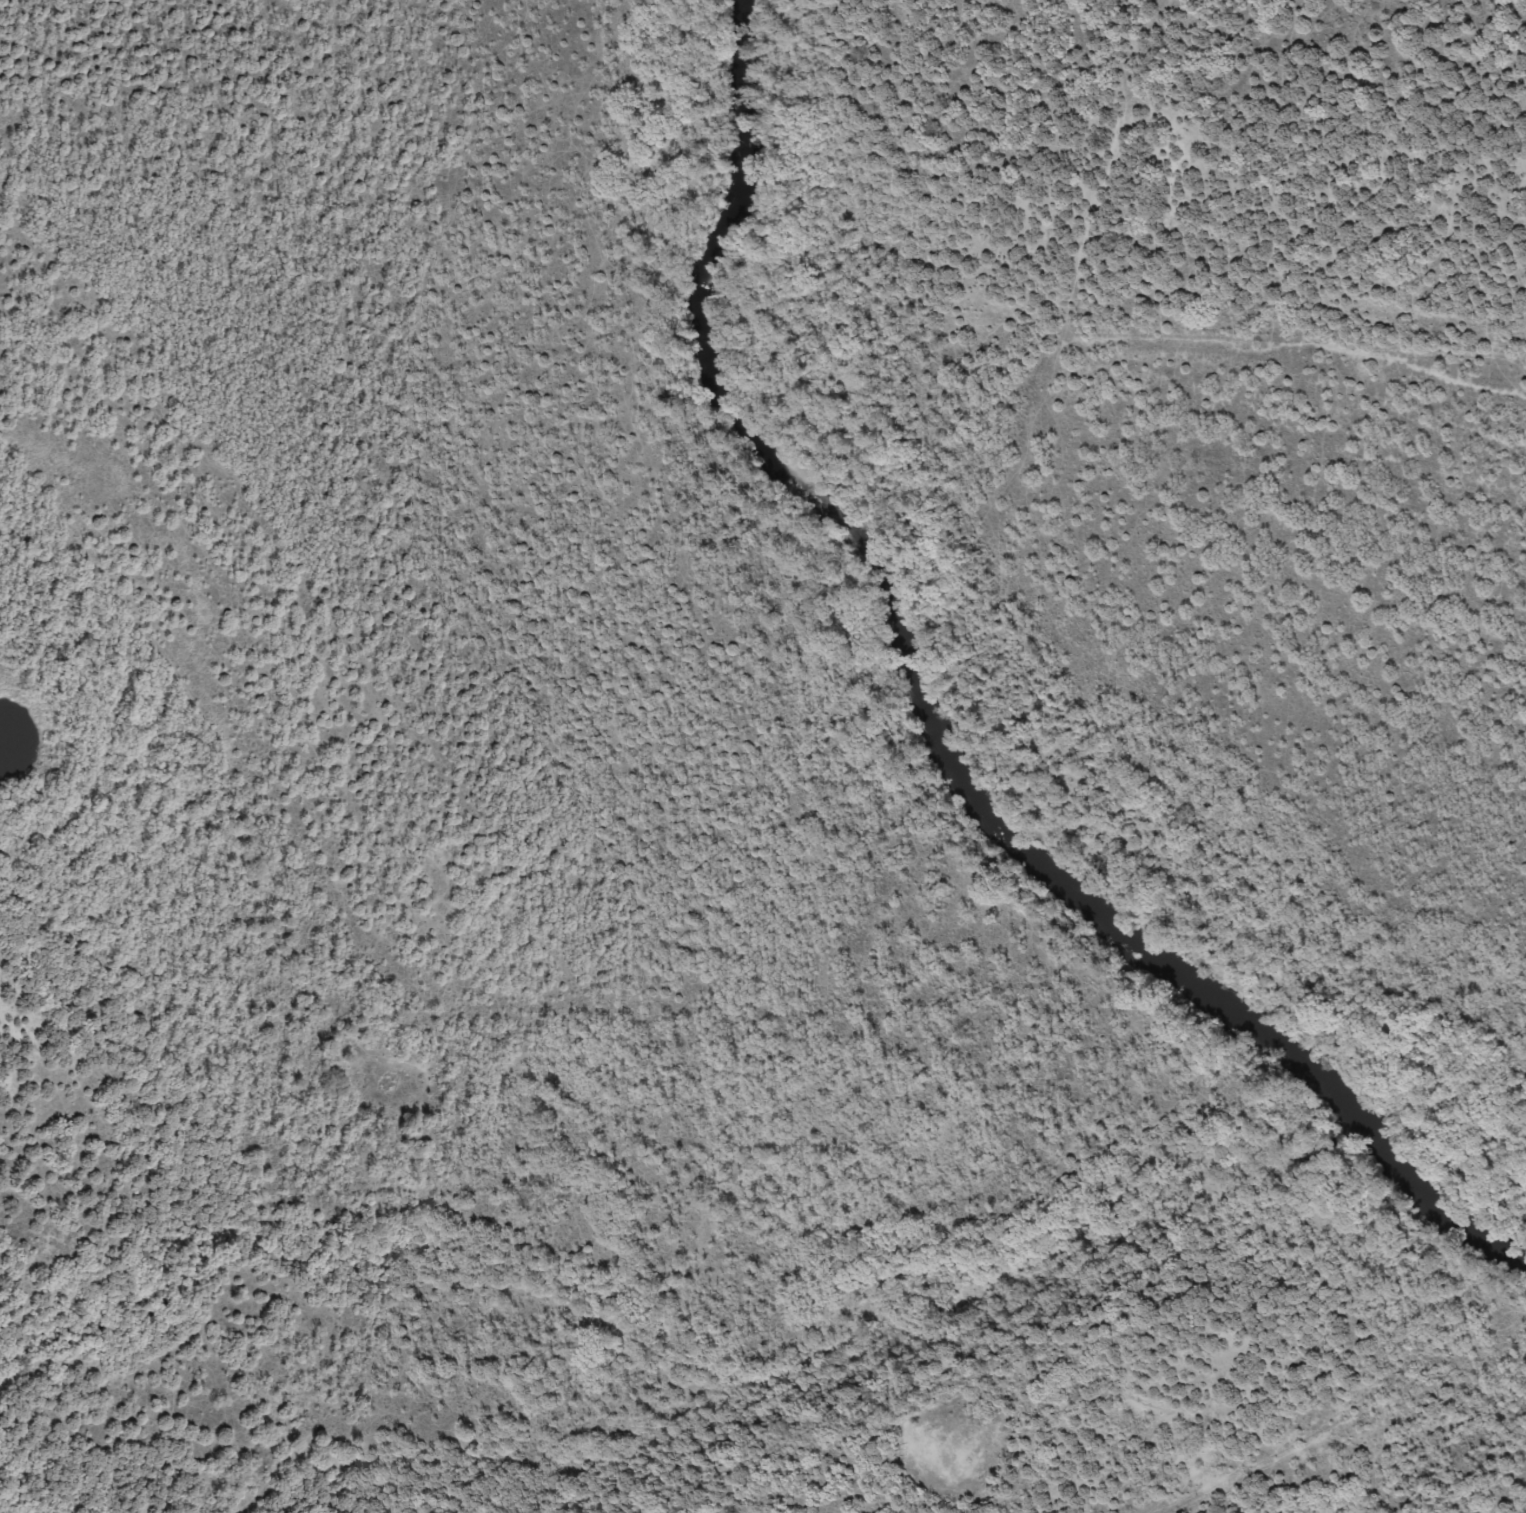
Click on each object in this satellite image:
road: (907, 1500)

